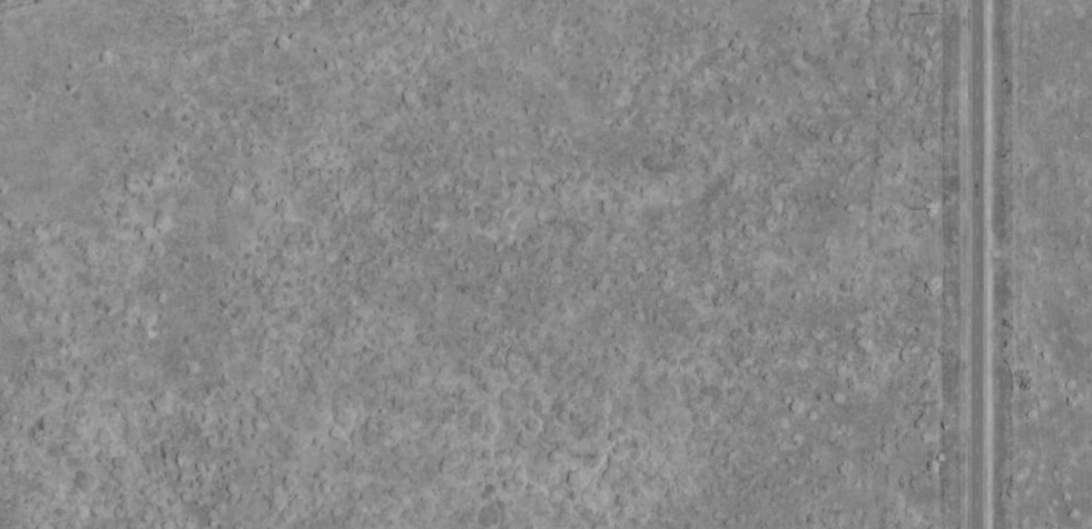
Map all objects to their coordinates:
road: (988, 264)

